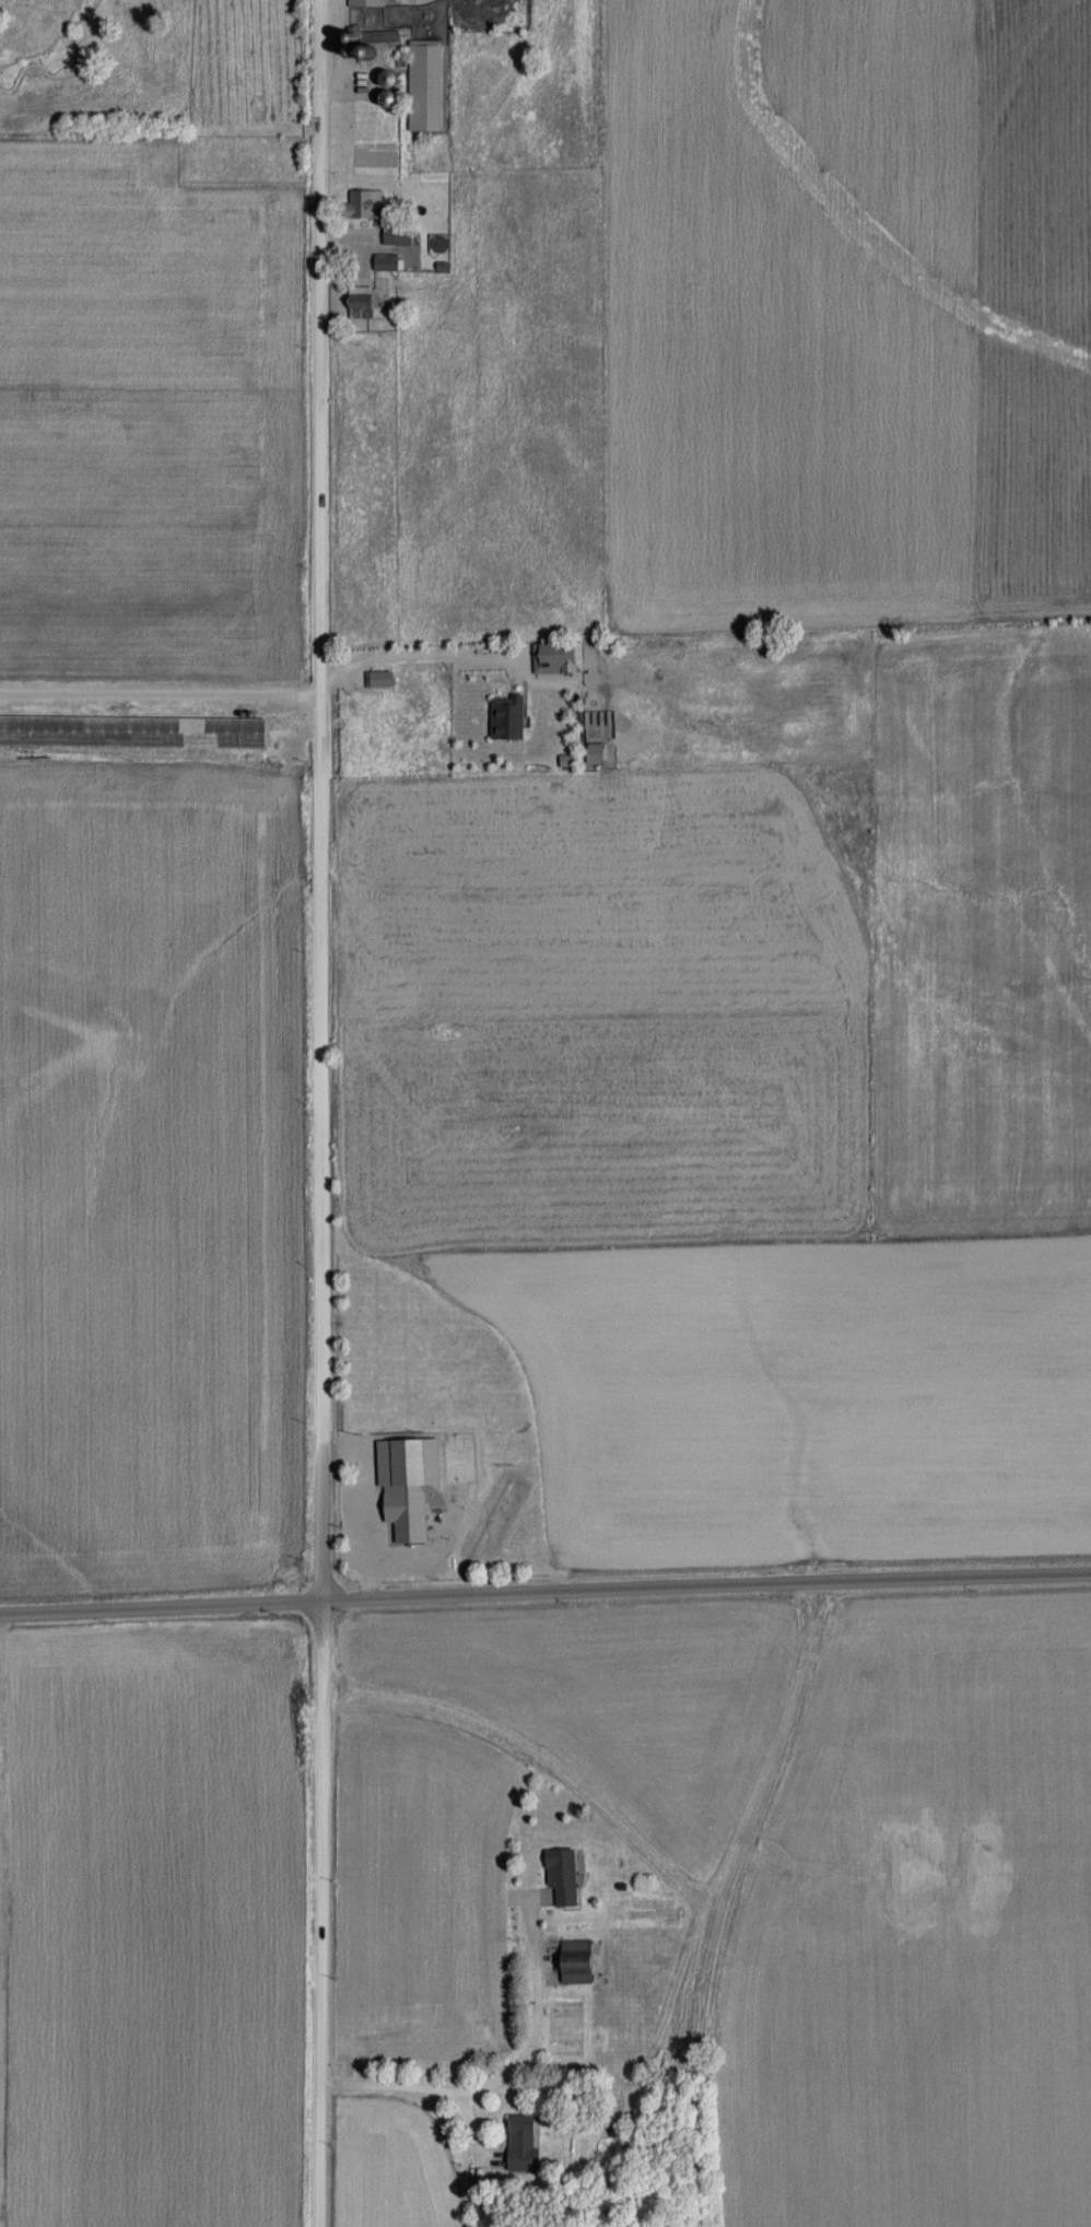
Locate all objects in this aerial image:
building: (368, 3)
building: (427, 85)
building: (368, 203)
building: (400, 235)
building: (388, 261)
building: (364, 302)
road: (412, 655)
road: (157, 691)
building: (134, 731)
road: (316, 1113)
building: (410, 1515)
road: (544, 1595)
building: (566, 1875)
building: (580, 1961)
road: (542, 2023)
road: (420, 2089)
building: (526, 2142)

